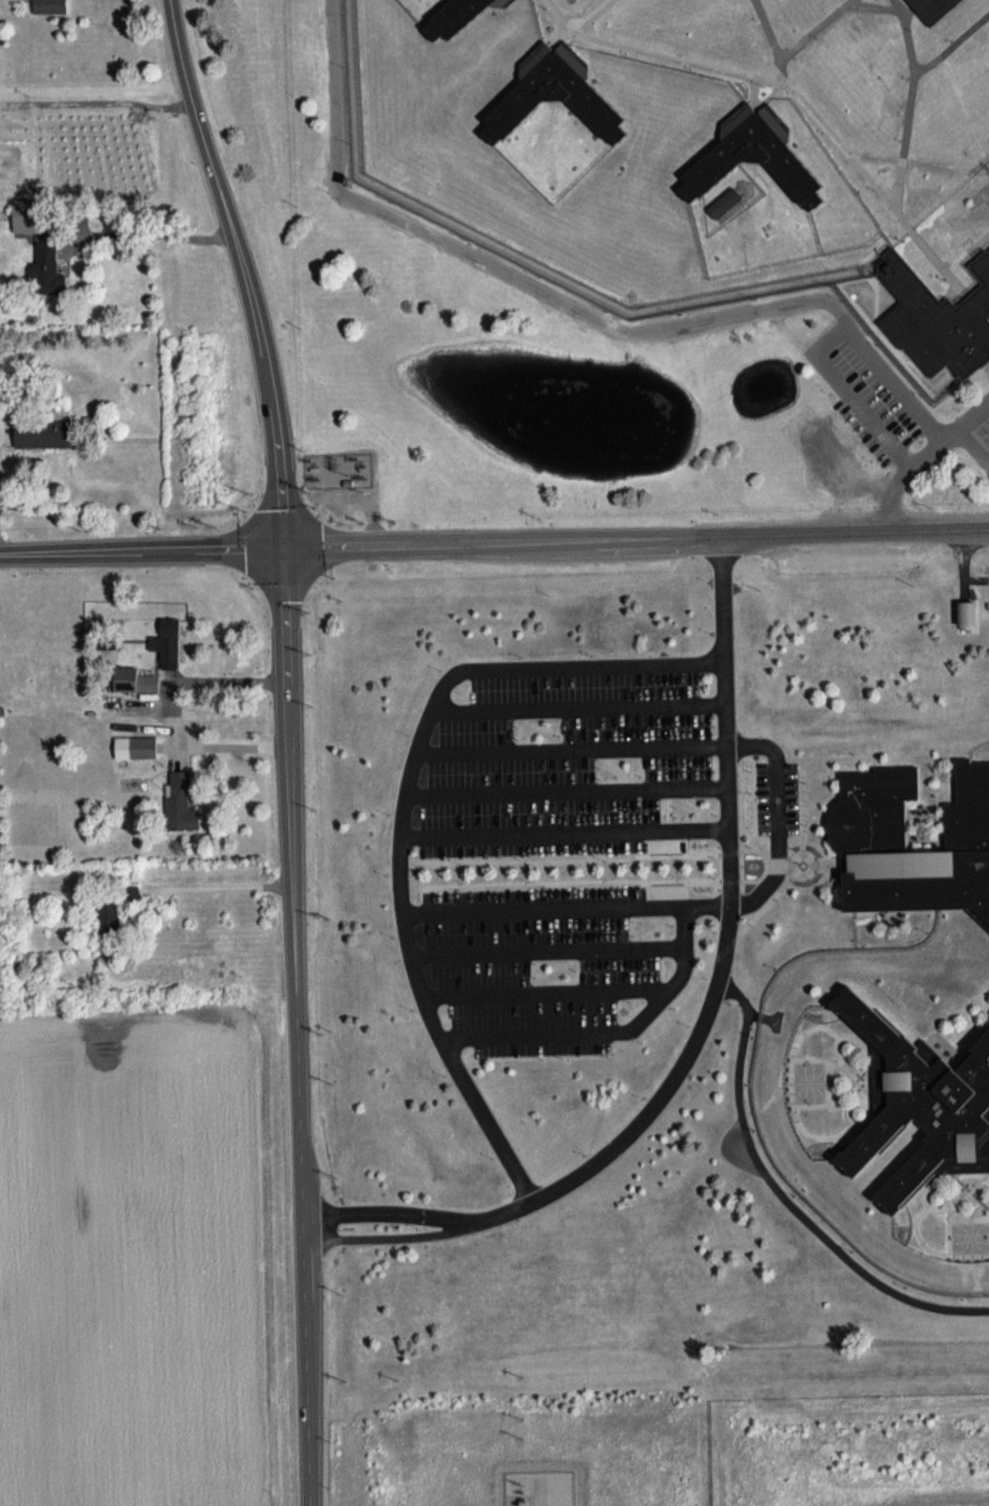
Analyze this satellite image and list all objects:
building: (50, 6)
building: (931, 8)
building: (453, 16)
road: (93, 85)
building: (553, 94)
crop: (76, 145)
building: (753, 155)
building: (724, 202)
road: (229, 212)
building: (25, 214)
road: (153, 234)
building: (47, 270)
road: (564, 307)
building: (936, 317)
building: (45, 433)
road: (915, 455)
power substation: (338, 469)
road: (325, 472)
road: (339, 472)
building: (347, 482)
road: (283, 488)
road: (355, 497)
road: (900, 533)
road: (373, 535)
road: (765, 537)
road: (661, 540)
road: (507, 544)
road: (349, 548)
traffic signals: (288, 550)
road: (223, 551)
road: (79, 555)
building: (967, 612)
road: (290, 617)
building: (167, 642)
road: (197, 678)
building: (135, 680)
road: (577, 704)
road: (233, 745)
road: (572, 746)
building: (136, 747)
road: (566, 790)
building: (180, 802)
road: (402, 810)
road: (781, 816)
road: (562, 830)
building: (869, 836)
road: (218, 886)
road: (707, 900)
road: (543, 906)
building: (108, 915)
road: (299, 934)
road: (725, 941)
road: (549, 947)
road: (678, 978)
road: (545, 993)
road: (531, 1031)
building: (917, 1097)
road: (782, 1194)
road: (381, 1212)
road: (306, 1223)
road: (385, 1238)
road: (308, 1294)
road: (311, 1416)
power substation: (544, 1490)

